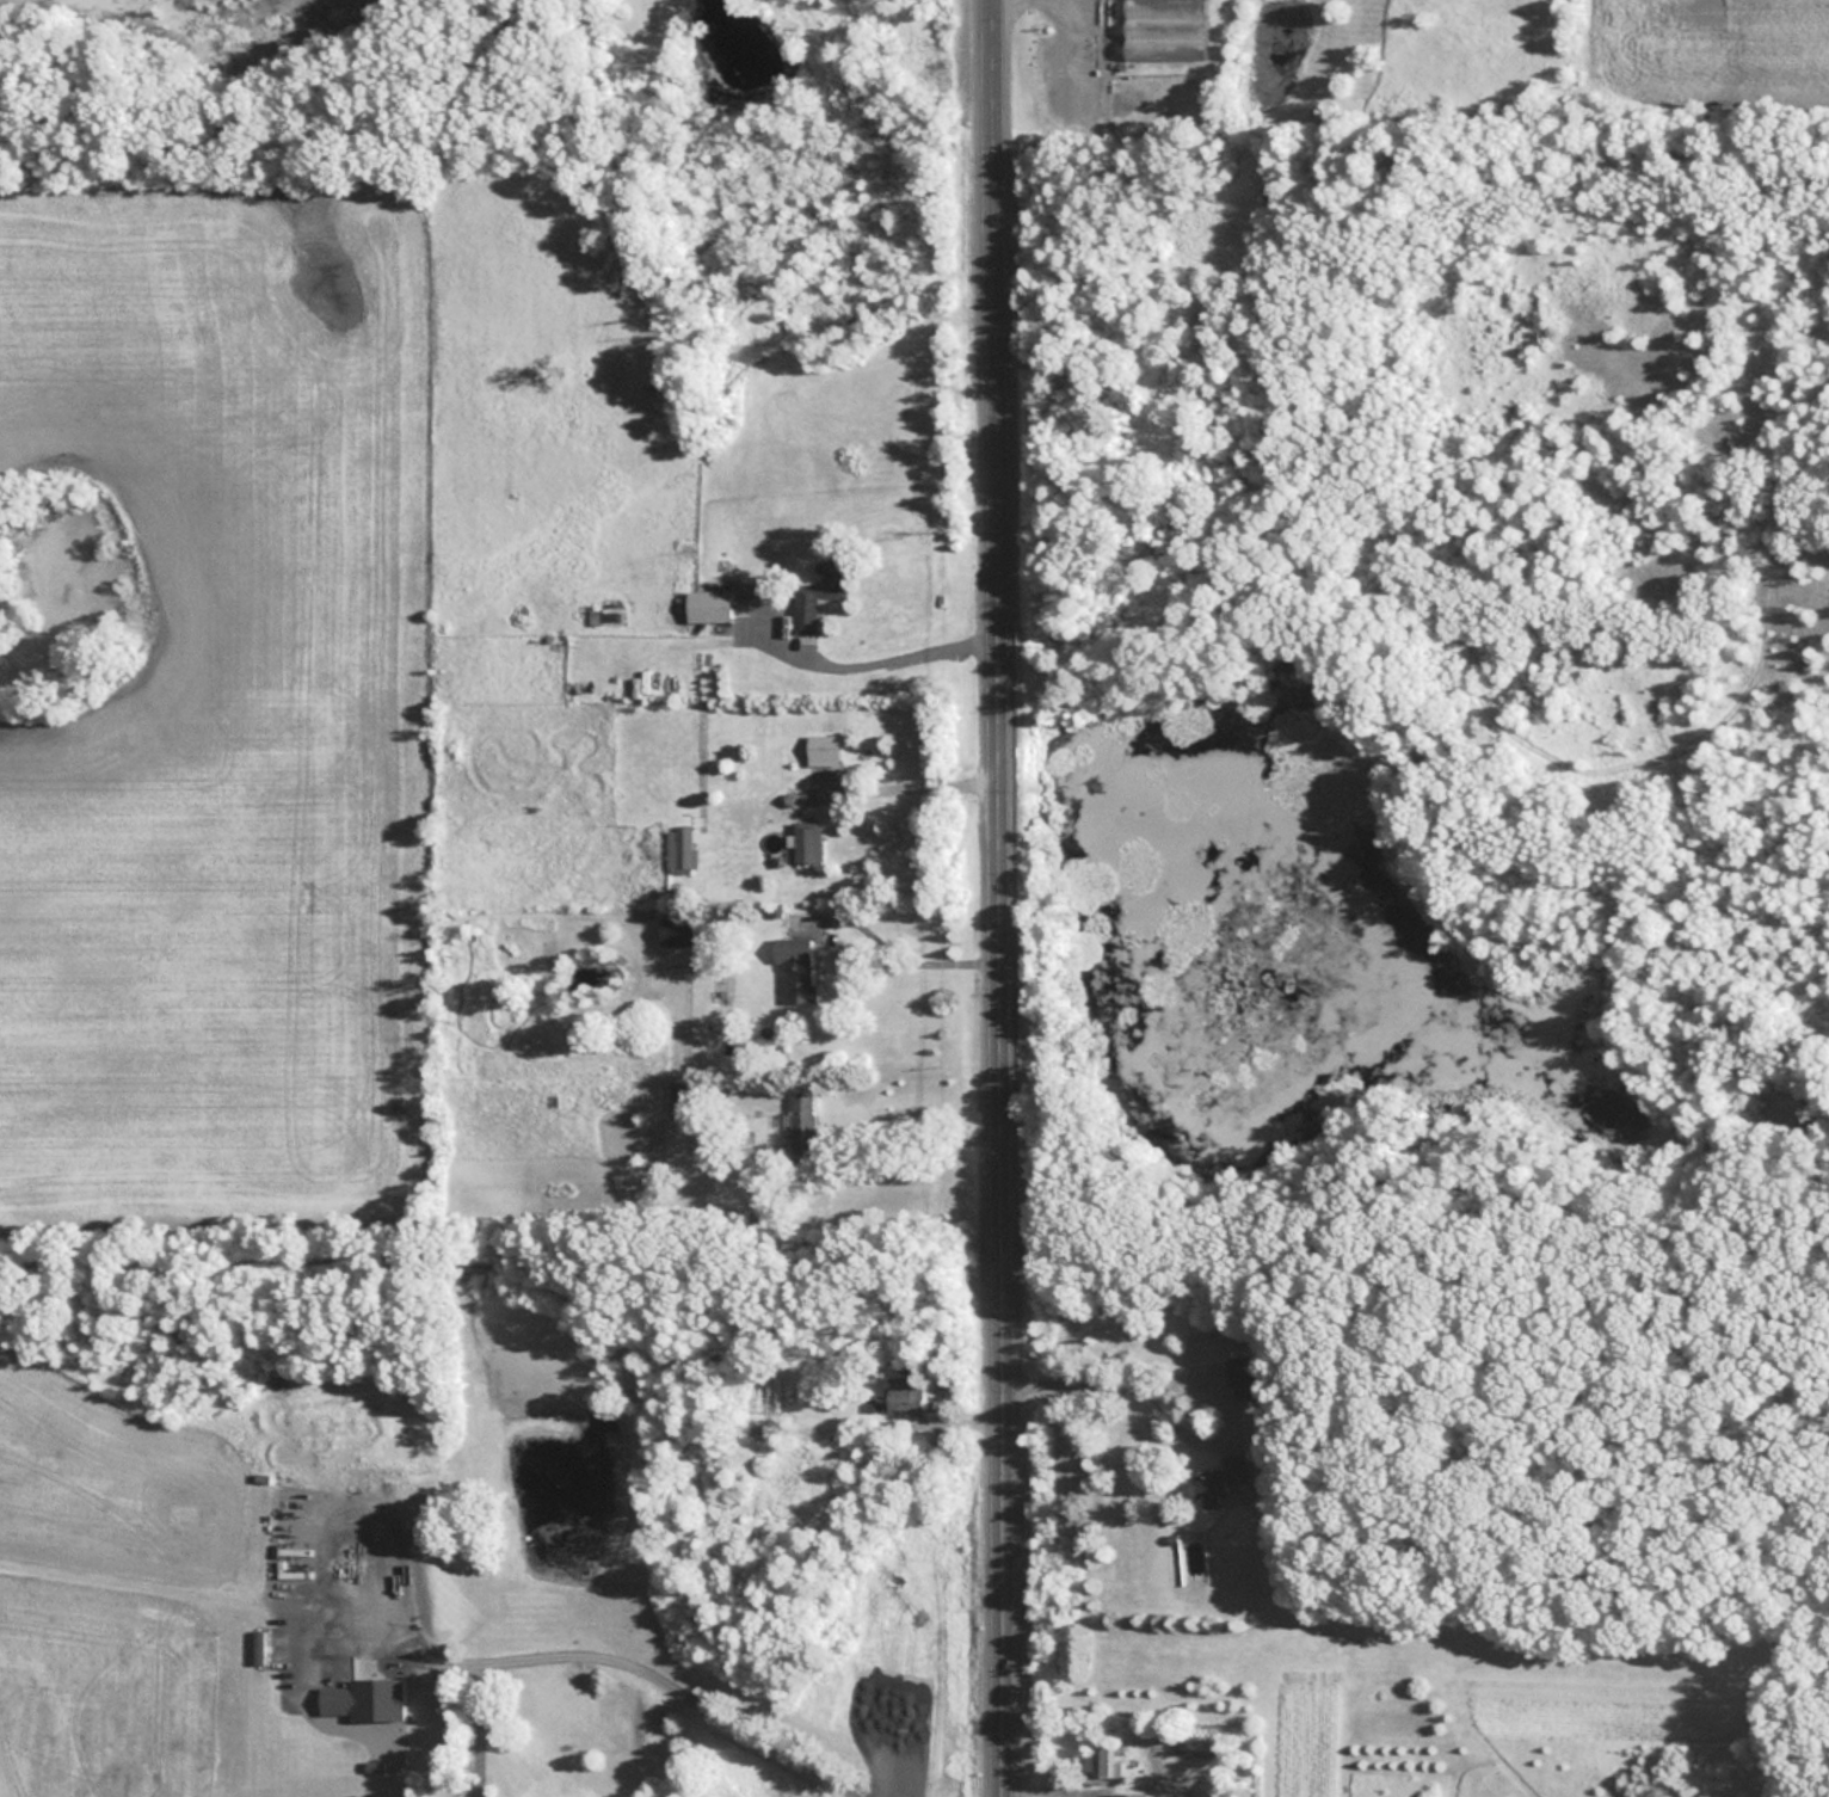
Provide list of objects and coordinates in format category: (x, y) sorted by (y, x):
building: (1164, 29)
road: (1069, 51)
building: (815, 595)
building: (707, 605)
road: (886, 659)
building: (821, 750)
building: (806, 842)
building: (681, 849)
road: (1005, 898)
building: (676, 930)
building: (796, 968)
building: (678, 1098)
building: (803, 1124)
building: (1244, 1378)
road: (1100, 1384)
building: (905, 1397)
building: (1218, 1483)
road: (691, 1681)
building: (362, 1700)
building: (1097, 1762)
building: (1120, 1796)

